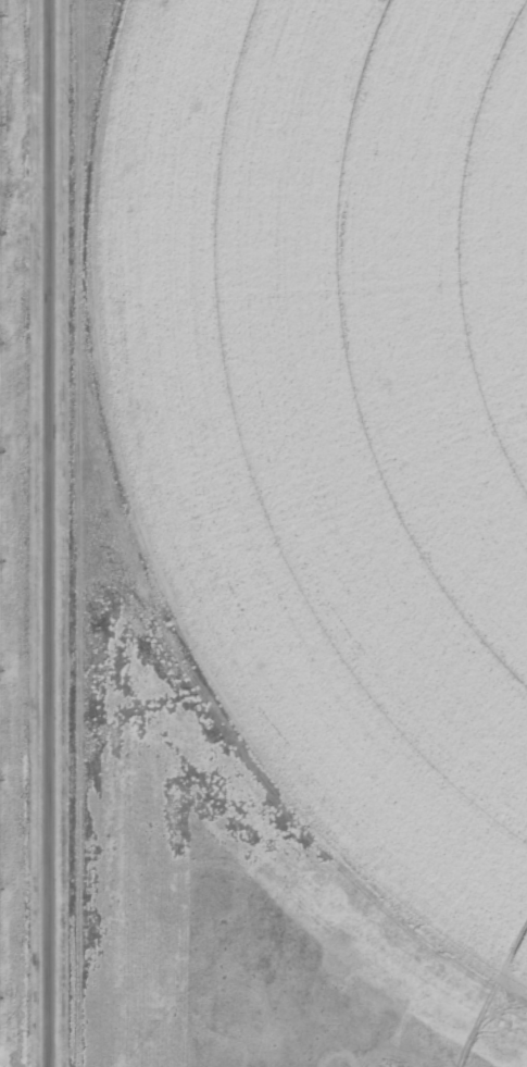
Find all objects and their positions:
road: (50, 533)

